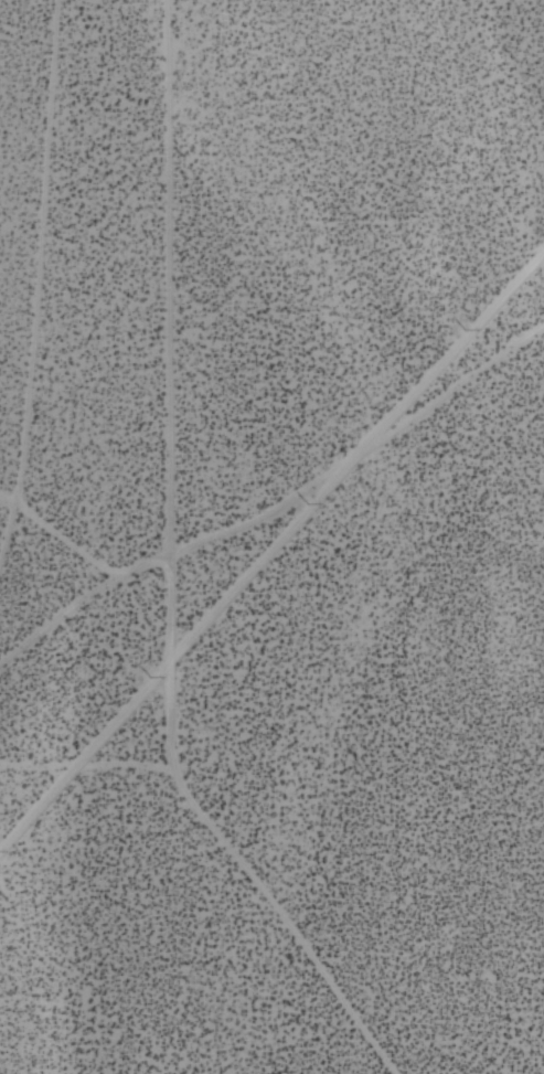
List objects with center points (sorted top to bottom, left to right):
road: (33, 233)
road: (431, 412)
road: (63, 521)
road: (223, 530)
road: (270, 557)
road: (184, 575)
road: (64, 610)
road: (92, 763)

